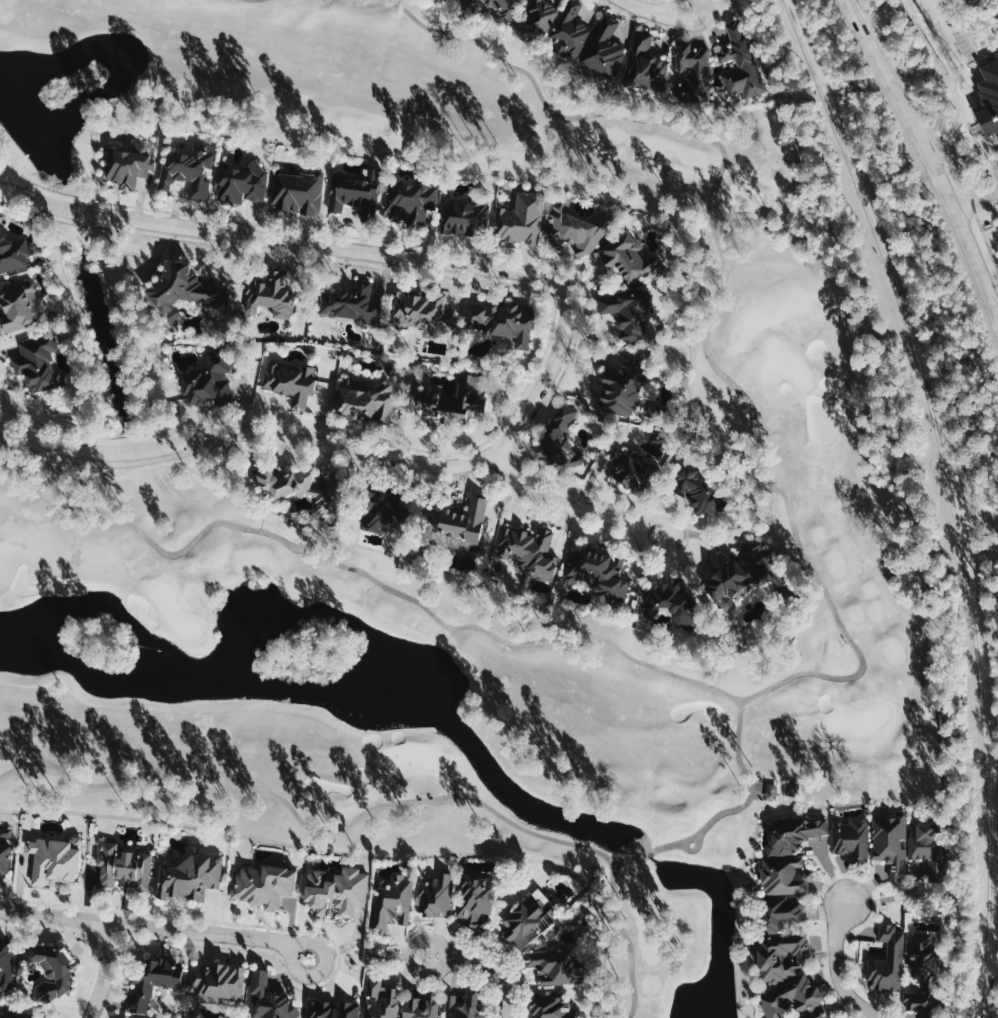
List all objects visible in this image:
building: (476, 0)
building: (505, 8)
road: (658, 11)
road: (891, 13)
building: (541, 15)
road: (946, 29)
building: (570, 30)
building: (603, 49)
building: (644, 61)
building: (738, 63)
building: (691, 70)
building: (989, 99)
road: (938, 136)
road: (928, 161)
building: (130, 166)
building: (187, 174)
road: (9, 178)
building: (241, 183)
building: (300, 190)
building: (355, 190)
building: (407, 199)
road: (976, 204)
building: (462, 217)
building: (521, 219)
building: (578, 229)
road: (372, 251)
building: (12, 253)
building: (628, 260)
road: (524, 284)
building: (180, 286)
road: (717, 288)
building: (271, 295)
building: (20, 305)
building: (356, 305)
building: (424, 313)
building: (630, 314)
building: (507, 319)
building: (37, 361)
park: (782, 365)
building: (209, 381)
building: (289, 382)
building: (623, 386)
building: (470, 399)
building: (367, 401)
road: (31, 416)
road: (243, 432)
building: (558, 440)
building: (627, 466)
building: (301, 487)
building: (700, 489)
road: (954, 496)
park: (121, 502)
road: (568, 504)
road: (629, 507)
building: (382, 510)
road: (979, 521)
building: (460, 525)
building: (530, 552)
road: (982, 552)
building: (599, 574)
building: (748, 575)
building: (669, 602)
park: (175, 611)
park: (857, 720)
road: (737, 747)
park: (417, 760)
building: (791, 788)
building: (770, 790)
building: (851, 837)
park: (725, 838)
building: (922, 841)
building: (890, 843)
road: (694, 847)
building: (4, 855)
building: (788, 856)
building: (54, 860)
building: (122, 864)
building: (192, 878)
building: (270, 882)
building: (339, 890)
building: (435, 895)
building: (476, 899)
building: (393, 902)
building: (528, 919)
road: (157, 926)
road: (48, 927)
road: (309, 929)
road: (626, 939)
building: (920, 953)
building: (786, 960)
building: (887, 960)
building: (8, 964)
building: (551, 965)
building: (51, 966)
road: (487, 966)
road: (836, 967)
road: (100, 969)
road: (92, 971)
building: (152, 977)
road: (117, 978)
building: (217, 979)
building: (271, 999)
building: (381, 999)
building: (918, 1001)
building: (462, 1005)
building: (419, 1006)
building: (331, 1007)
building: (552, 1007)
building: (9, 1015)

